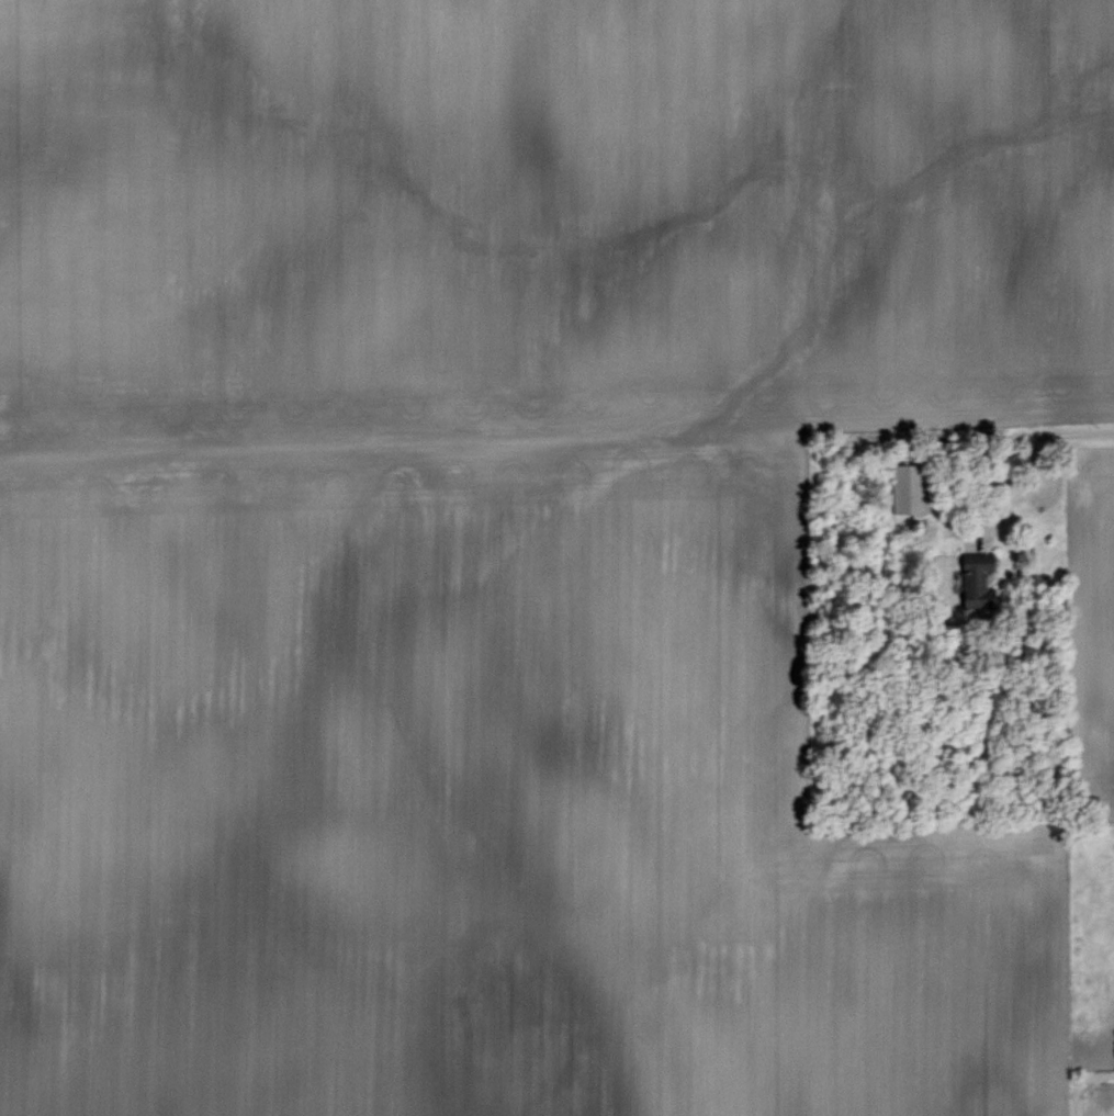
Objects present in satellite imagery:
road: (1023, 454)
building: (903, 486)
building: (972, 560)
road: (1082, 1084)
building: (1113, 1096)

